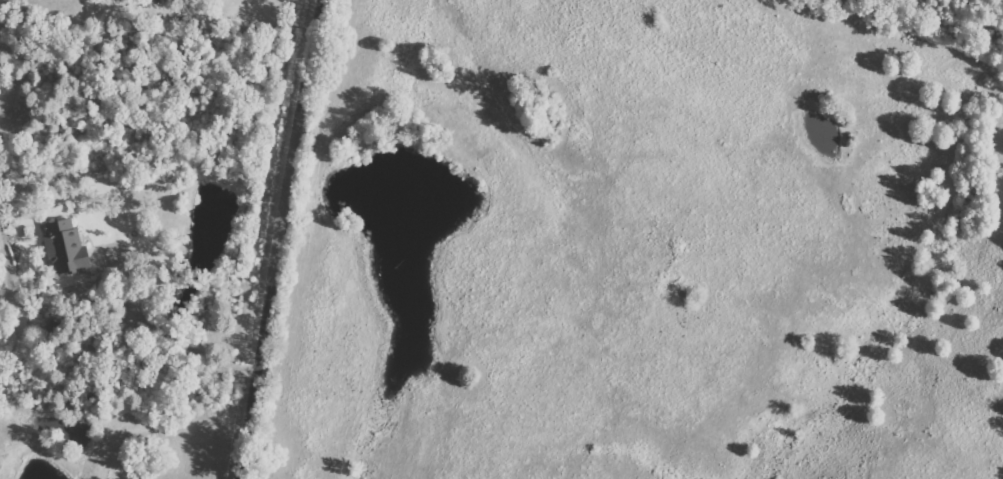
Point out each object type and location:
road: (280, 239)
building: (64, 246)
road: (166, 334)

